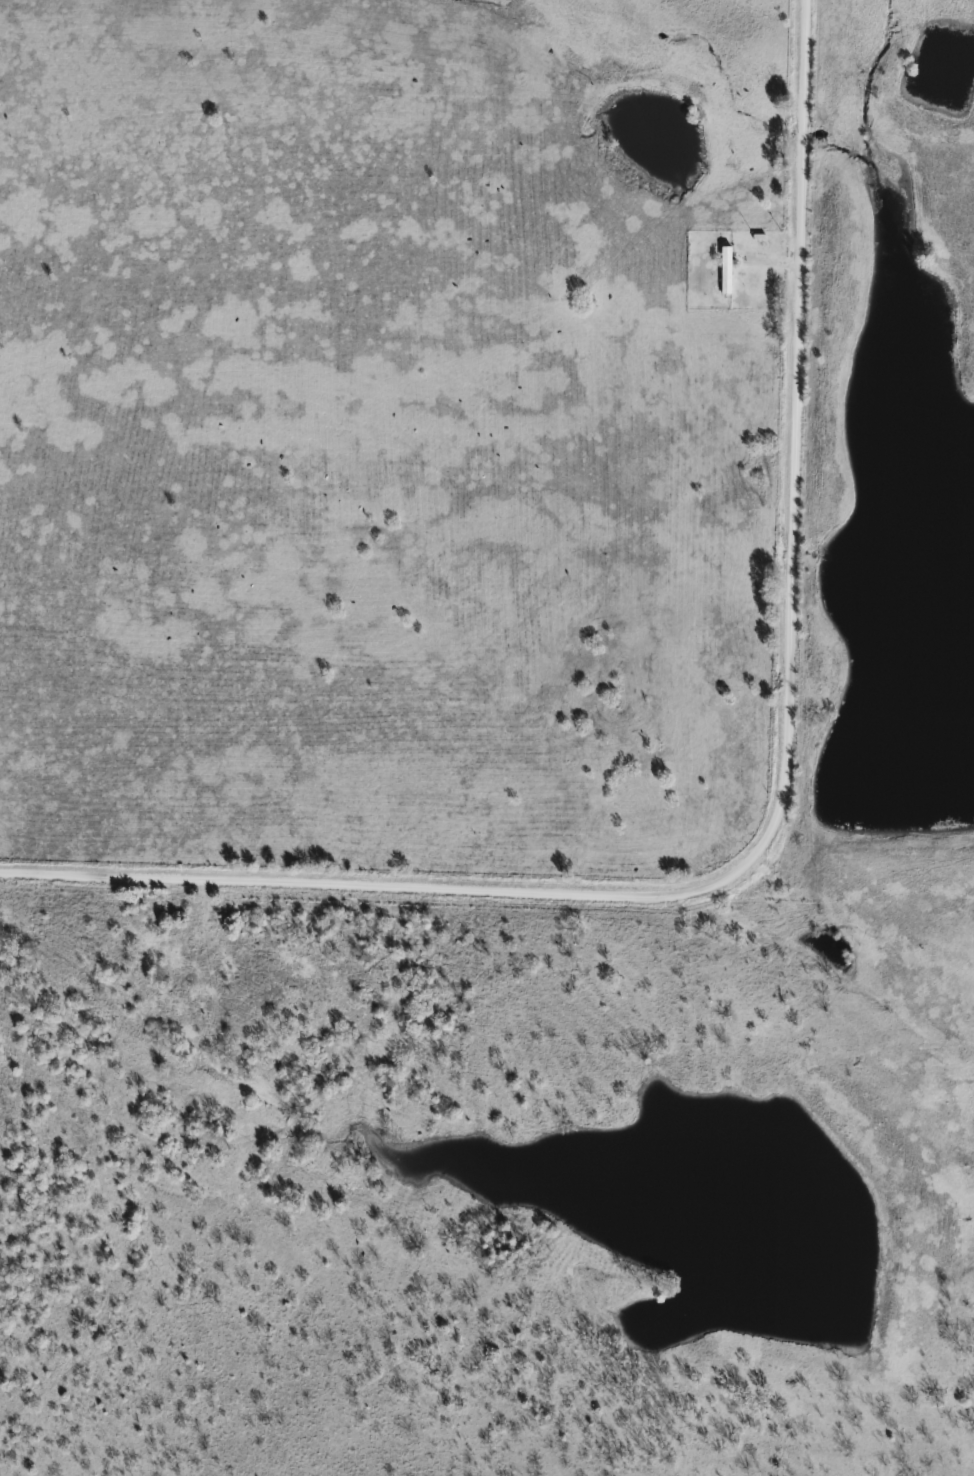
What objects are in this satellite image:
road: (771, 262)
building: (725, 270)
road: (776, 813)

